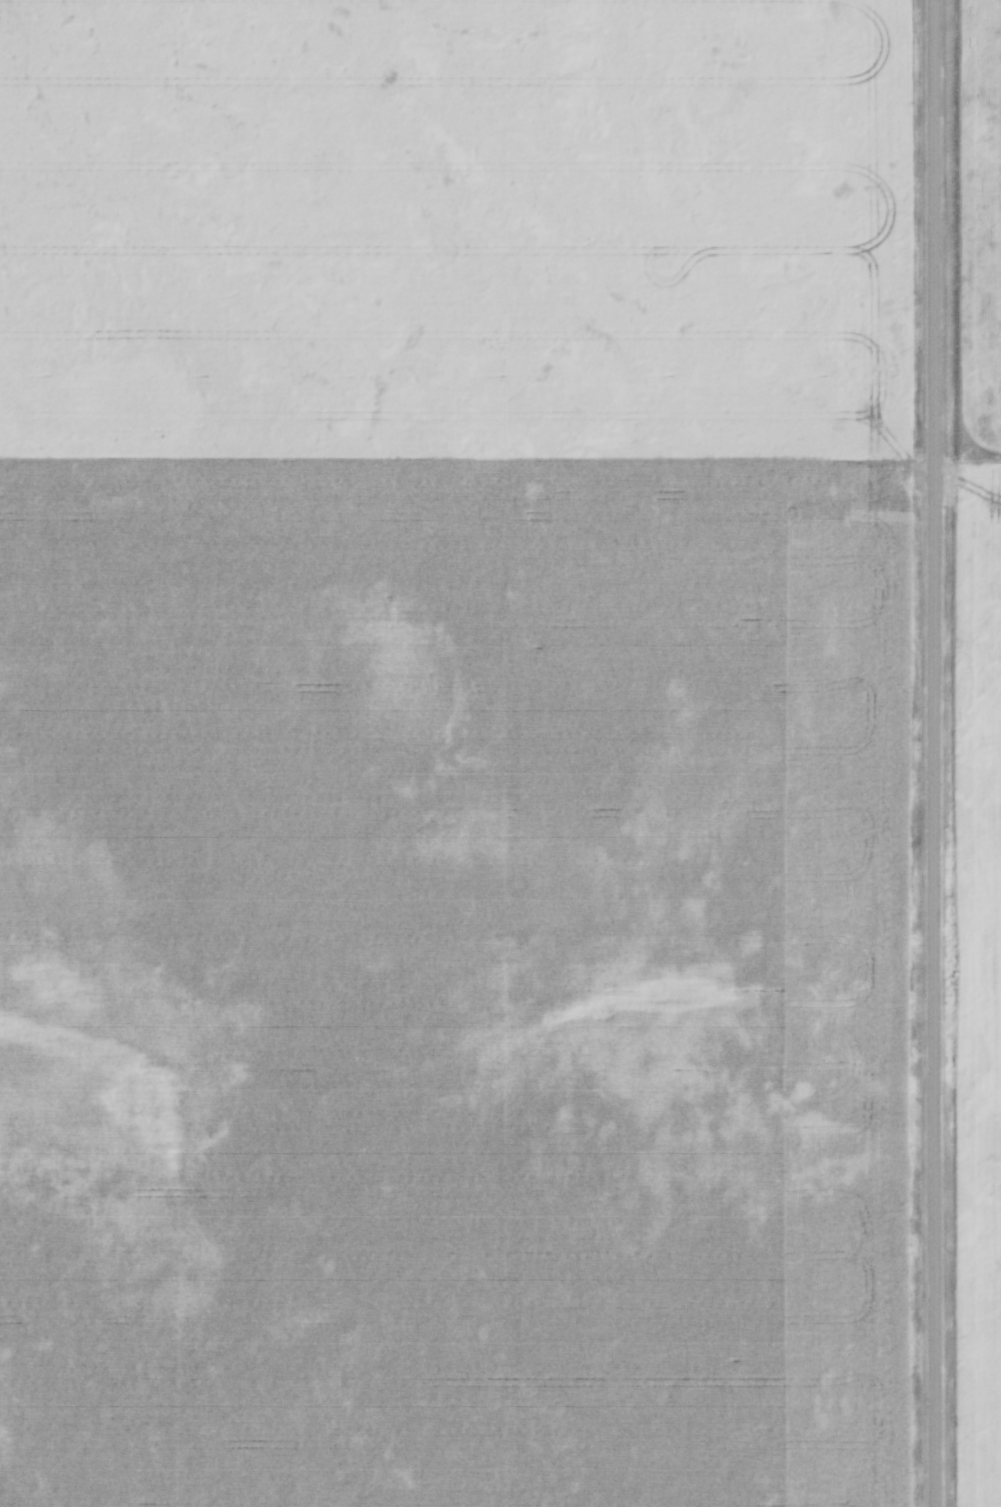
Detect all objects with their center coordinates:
road: (935, 753)

